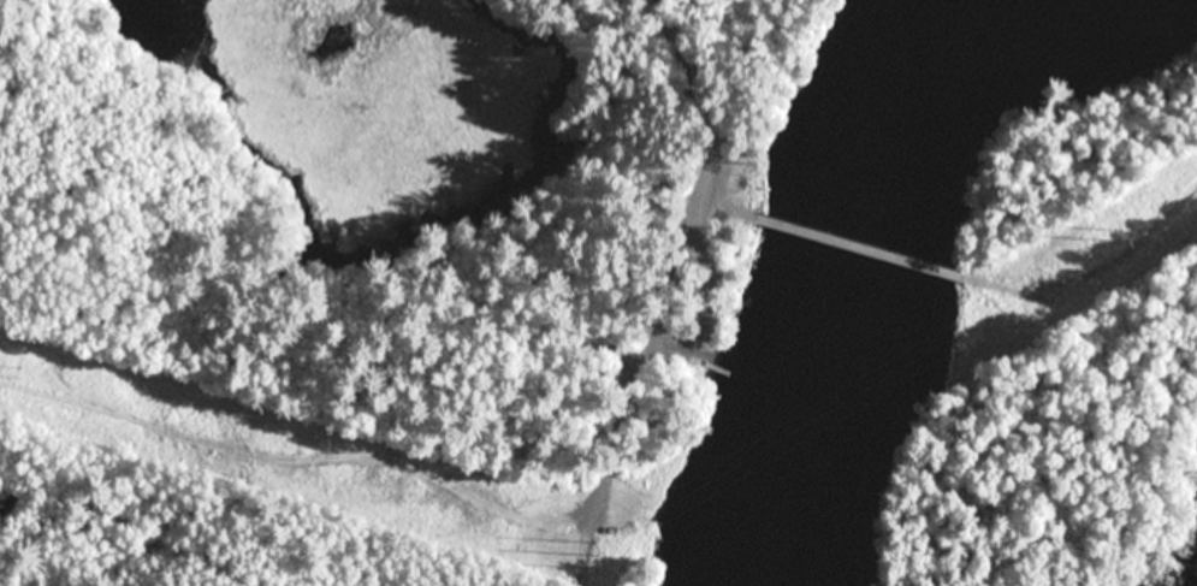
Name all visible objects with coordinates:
road: (697, 174)
river: (853, 292)

